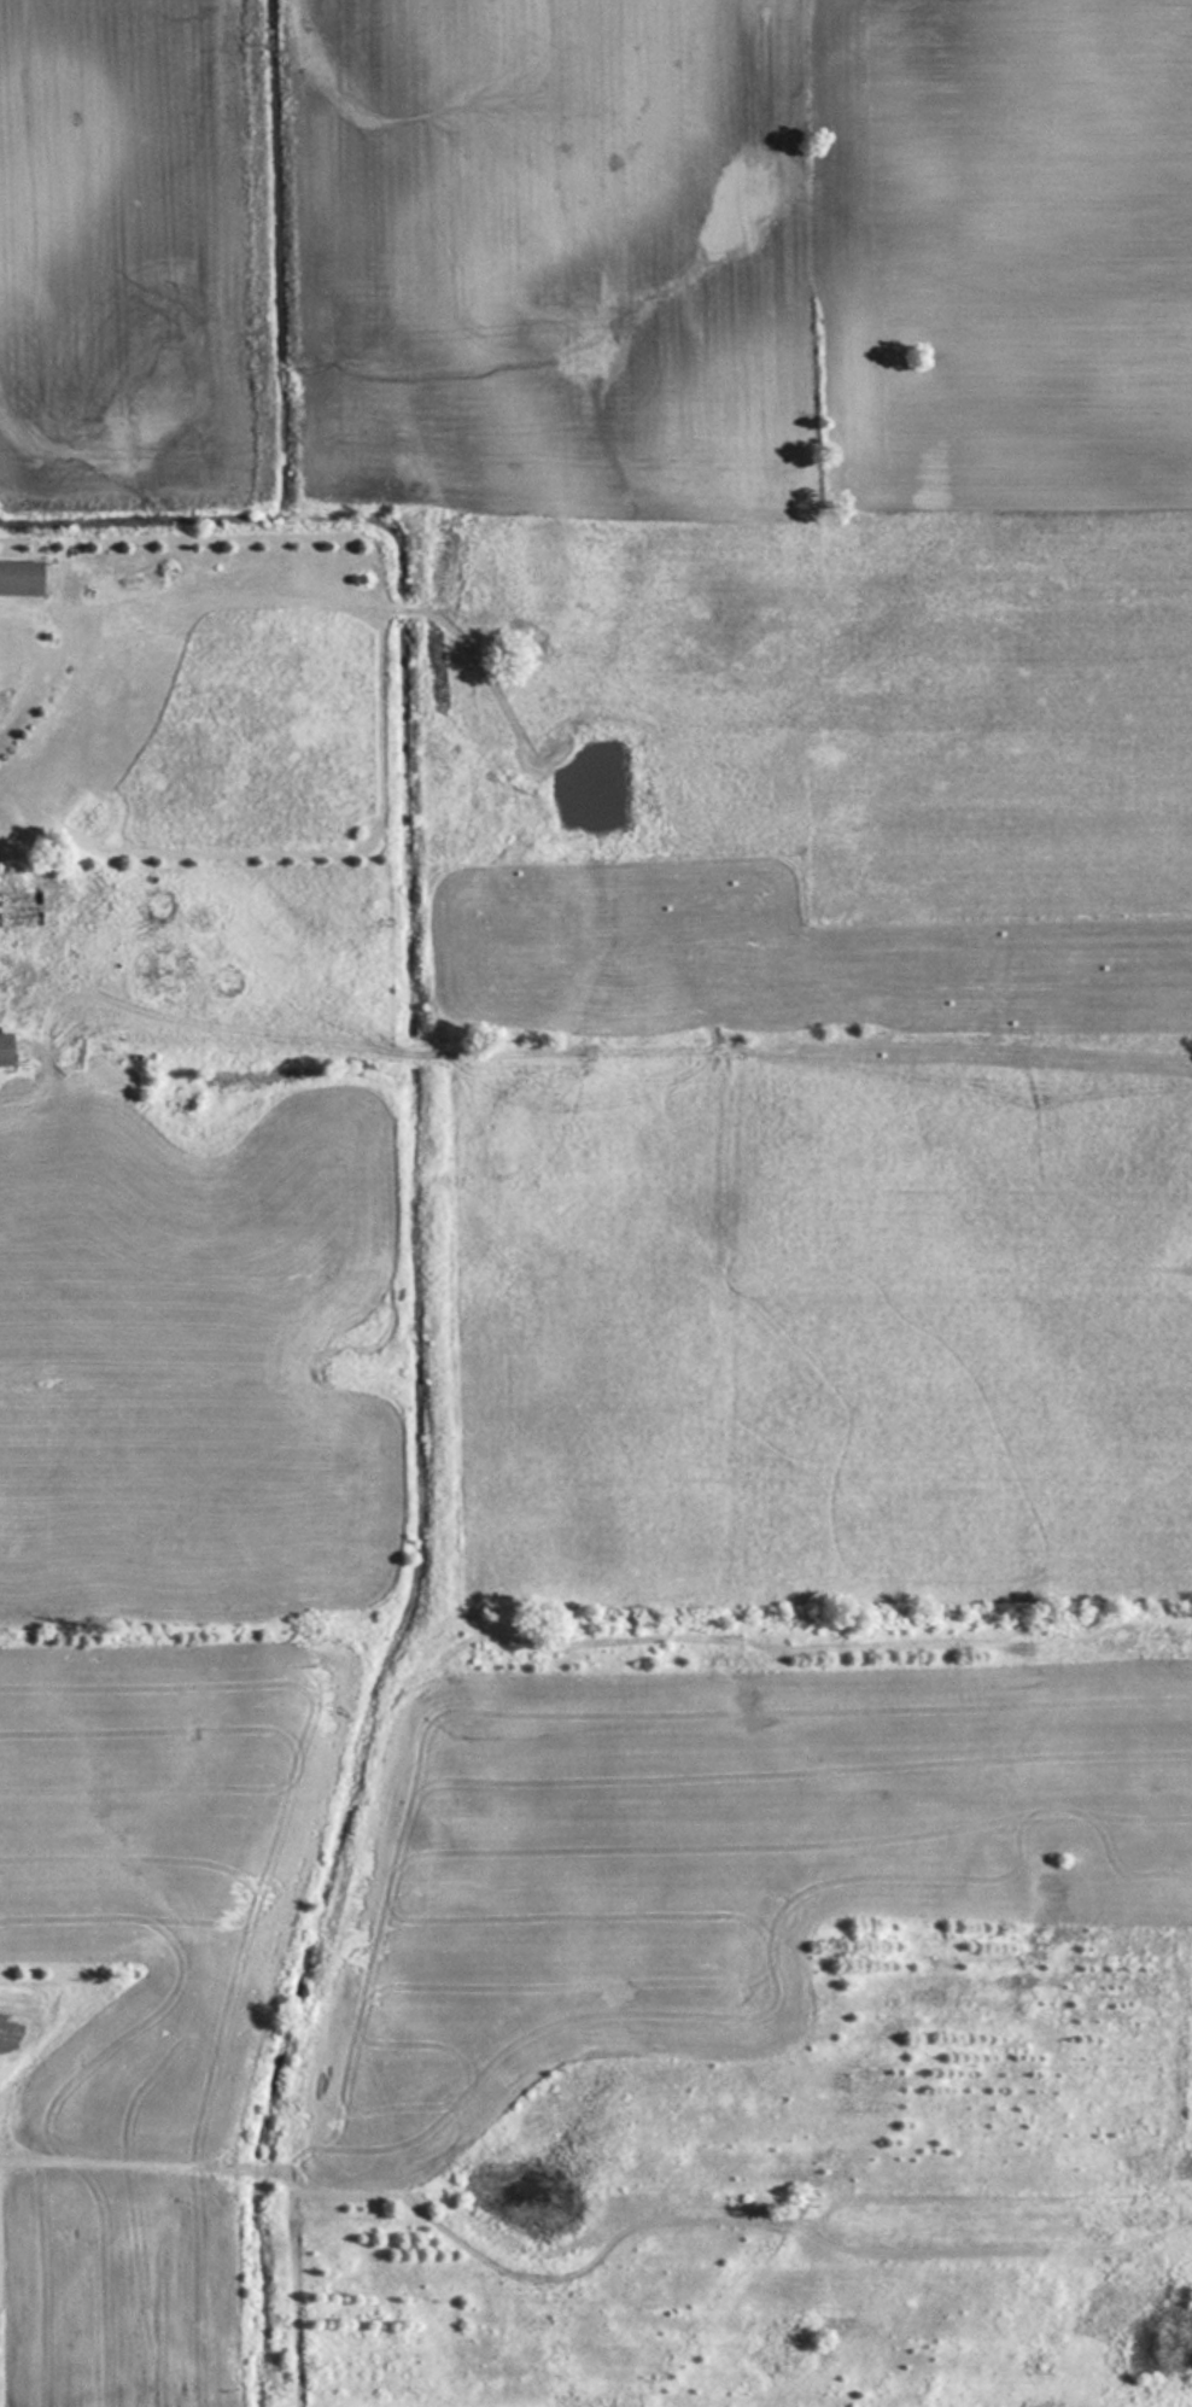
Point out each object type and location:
building: (19, 577)
building: (4, 1050)

